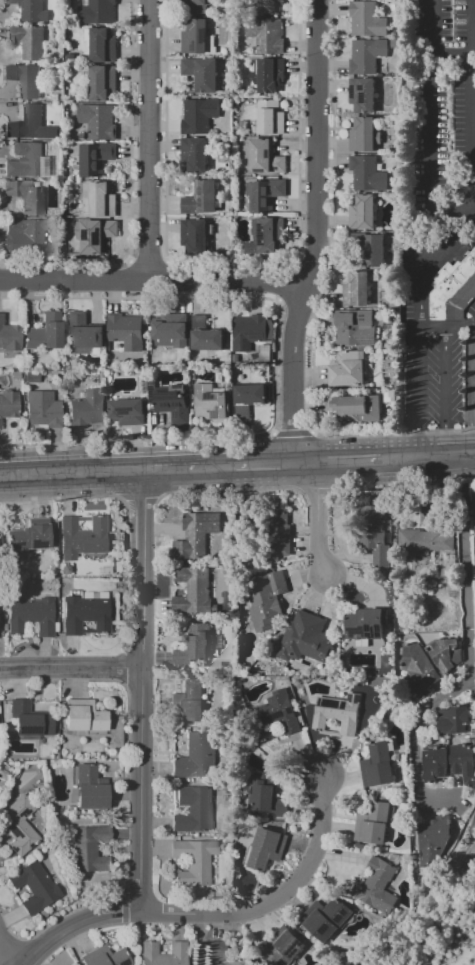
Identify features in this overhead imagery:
building: (199, 6)
building: (272, 7)
building: (33, 10)
building: (100, 12)
building: (369, 21)
rooftop solar panel: (205, 36)
building: (269, 37)
building: (200, 40)
building: (31, 42)
building: (103, 46)
rooftop solar panel: (197, 46)
road: (430, 46)
building: (369, 57)
building: (204, 75)
building: (271, 76)
building: (27, 81)
building: (105, 84)
rooftop solar panel: (360, 85)
rooftop solar panel: (349, 91)
building: (365, 96)
rooftop solar panel: (362, 97)
road: (470, 104)
building: (201, 117)
building: (273, 119)
building: (101, 123)
building: (31, 125)
building: (367, 136)
road: (148, 141)
road: (332, 146)
rooftop solar panel: (265, 154)
building: (197, 156)
building: (266, 158)
building: (98, 160)
building: (31, 163)
rooftop solar panel: (46, 163)
road: (428, 167)
rooftop solar panel: (275, 168)
rooftop solar panel: (261, 170)
building: (370, 174)
rooftop solar panel: (252, 192)
building: (267, 196)
building: (29, 197)
building: (203, 199)
building: (105, 201)
building: (365, 213)
road: (314, 231)
rooftop solar panel: (259, 233)
building: (270, 234)
building: (29, 236)
building: (97, 236)
building: (198, 237)
building: (371, 249)
road: (147, 261)
road: (151, 283)
building: (358, 291)
building: (454, 291)
road: (419, 295)
road: (459, 325)
road: (431, 328)
building: (357, 329)
building: (172, 332)
building: (128, 333)
building: (250, 333)
building: (47, 335)
building: (87, 336)
building: (10, 337)
building: (207, 337)
rooftop solar panel: (366, 340)
building: (265, 355)
building: (350, 370)
building: (219, 378)
road: (443, 379)
road: (418, 380)
rooftop solar panel: (177, 389)
rooftop solar panel: (164, 396)
rooftop solar panel: (206, 396)
building: (250, 400)
building: (173, 402)
building: (213, 405)
building: (10, 407)
road: (472, 407)
building: (90, 410)
building: (350, 410)
building: (45, 411)
rooftop solar panel: (121, 411)
road: (307, 412)
building: (129, 413)
rooftop solar panel: (214, 413)
road: (459, 430)
road: (311, 431)
road: (430, 431)
road: (271, 433)
road: (290, 433)
road: (442, 442)
road: (417, 443)
road: (385, 456)
road: (263, 460)
road: (218, 462)
road: (173, 464)
road: (70, 470)
road: (469, 478)
building: (474, 509)
road: (318, 515)
building: (373, 533)
building: (198, 536)
building: (32, 537)
building: (277, 537)
building: (85, 538)
building: (427, 542)
rooftop solar panel: (20, 544)
rooftop solar panel: (38, 544)
building: (194, 592)
building: (267, 598)
building: (86, 615)
building: (32, 616)
building: (364, 626)
rooftop solar panel: (368, 628)
rooftop solar panel: (378, 629)
rooftop solar panel: (354, 631)
rooftop solar panel: (373, 631)
rooftop solar panel: (367, 634)
building: (302, 638)
road: (466, 639)
building: (192, 652)
building: (447, 655)
building: (418, 668)
road: (70, 669)
building: (187, 702)
building: (336, 713)
building: (83, 717)
building: (270, 718)
building: (28, 720)
building: (452, 720)
road: (139, 755)
building: (195, 757)
building: (463, 762)
building: (433, 763)
building: (376, 766)
building: (90, 789)
building: (265, 796)
building: (190, 810)
building: (371, 824)
building: (21, 825)
building: (433, 840)
building: (88, 848)
building: (265, 848)
building: (193, 861)
building: (32, 886)
building: (375, 886)
road: (272, 896)
rooftop solar panel: (343, 913)
building: (324, 918)
rooftop solar panel: (337, 919)
rooftop solar panel: (324, 928)
building: (282, 947)
building: (178, 948)
building: (216, 951)
road: (4, 955)
building: (104, 957)
rooftop solar panel: (122, 964)

